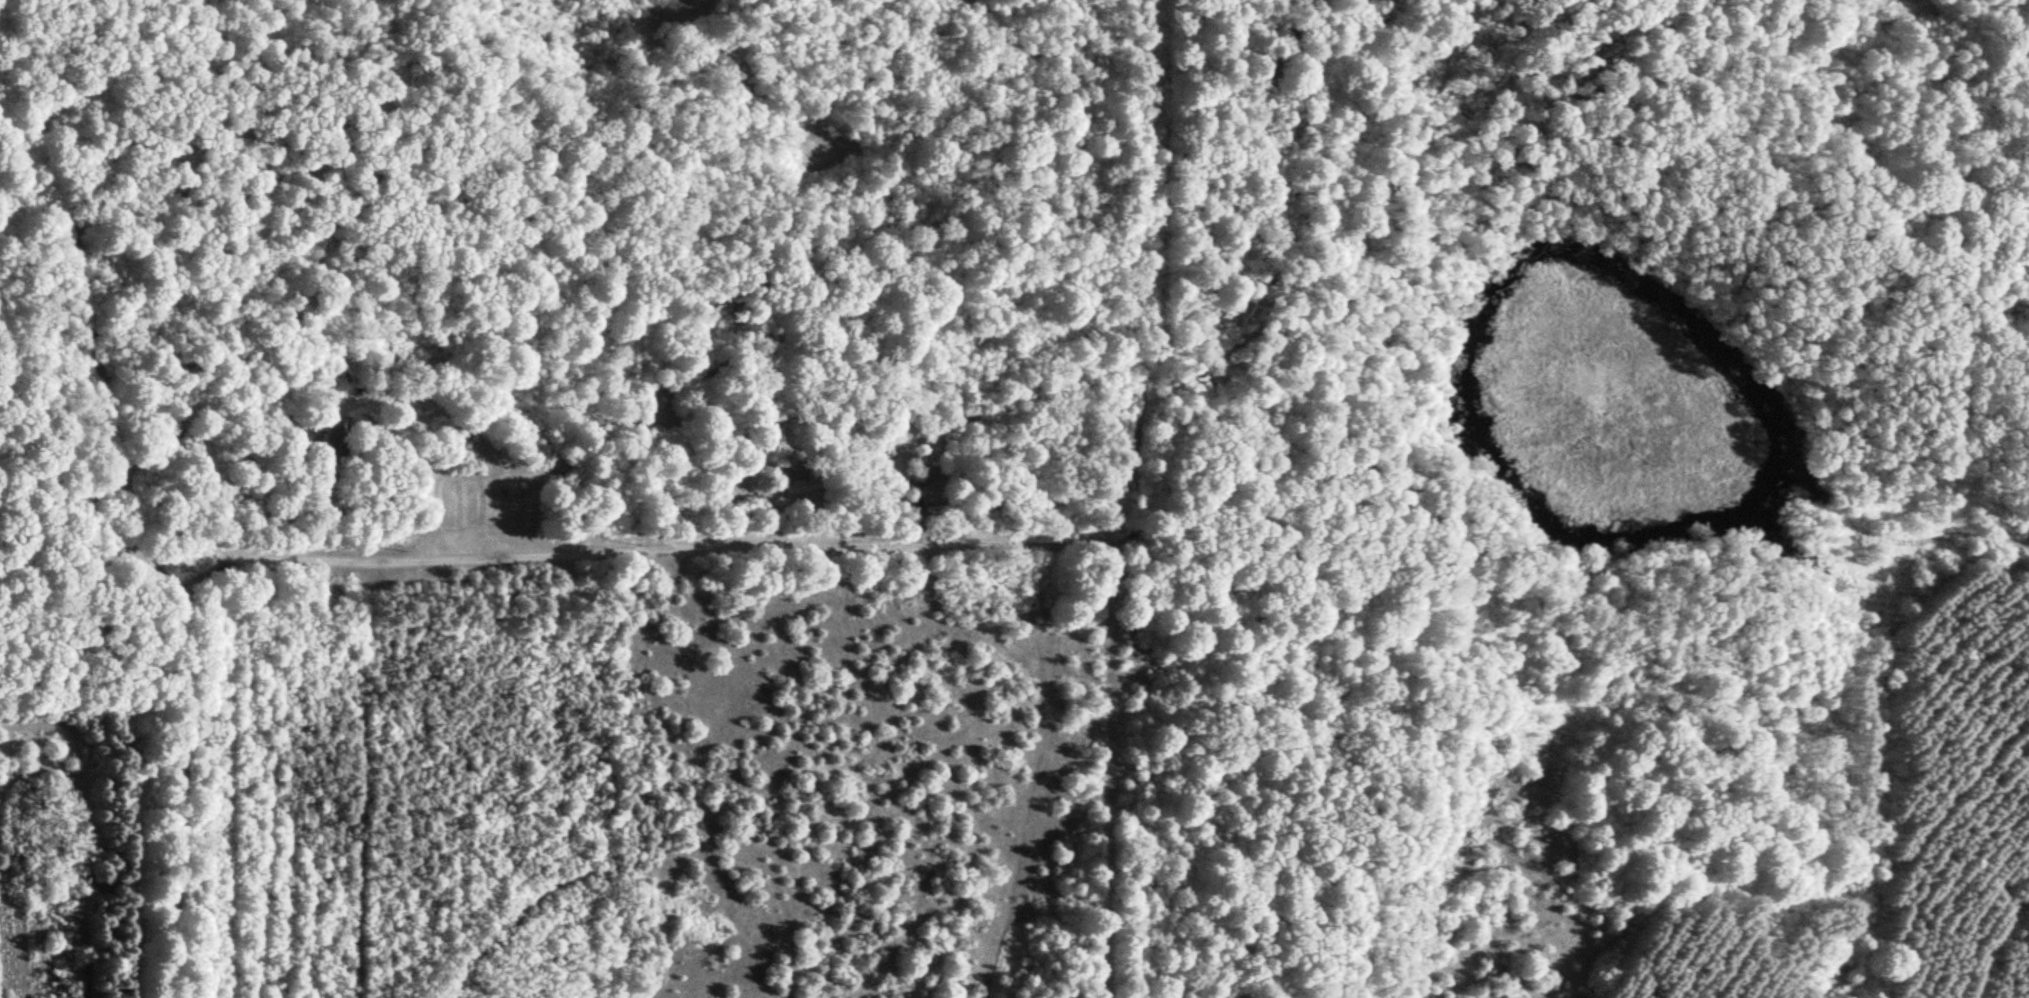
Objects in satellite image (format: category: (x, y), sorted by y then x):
building: (427, 386)
building: (336, 441)
road: (434, 497)
road: (140, 528)
road: (783, 547)
road: (973, 626)
road: (1033, 763)
road: (1104, 765)
road: (1993, 940)

